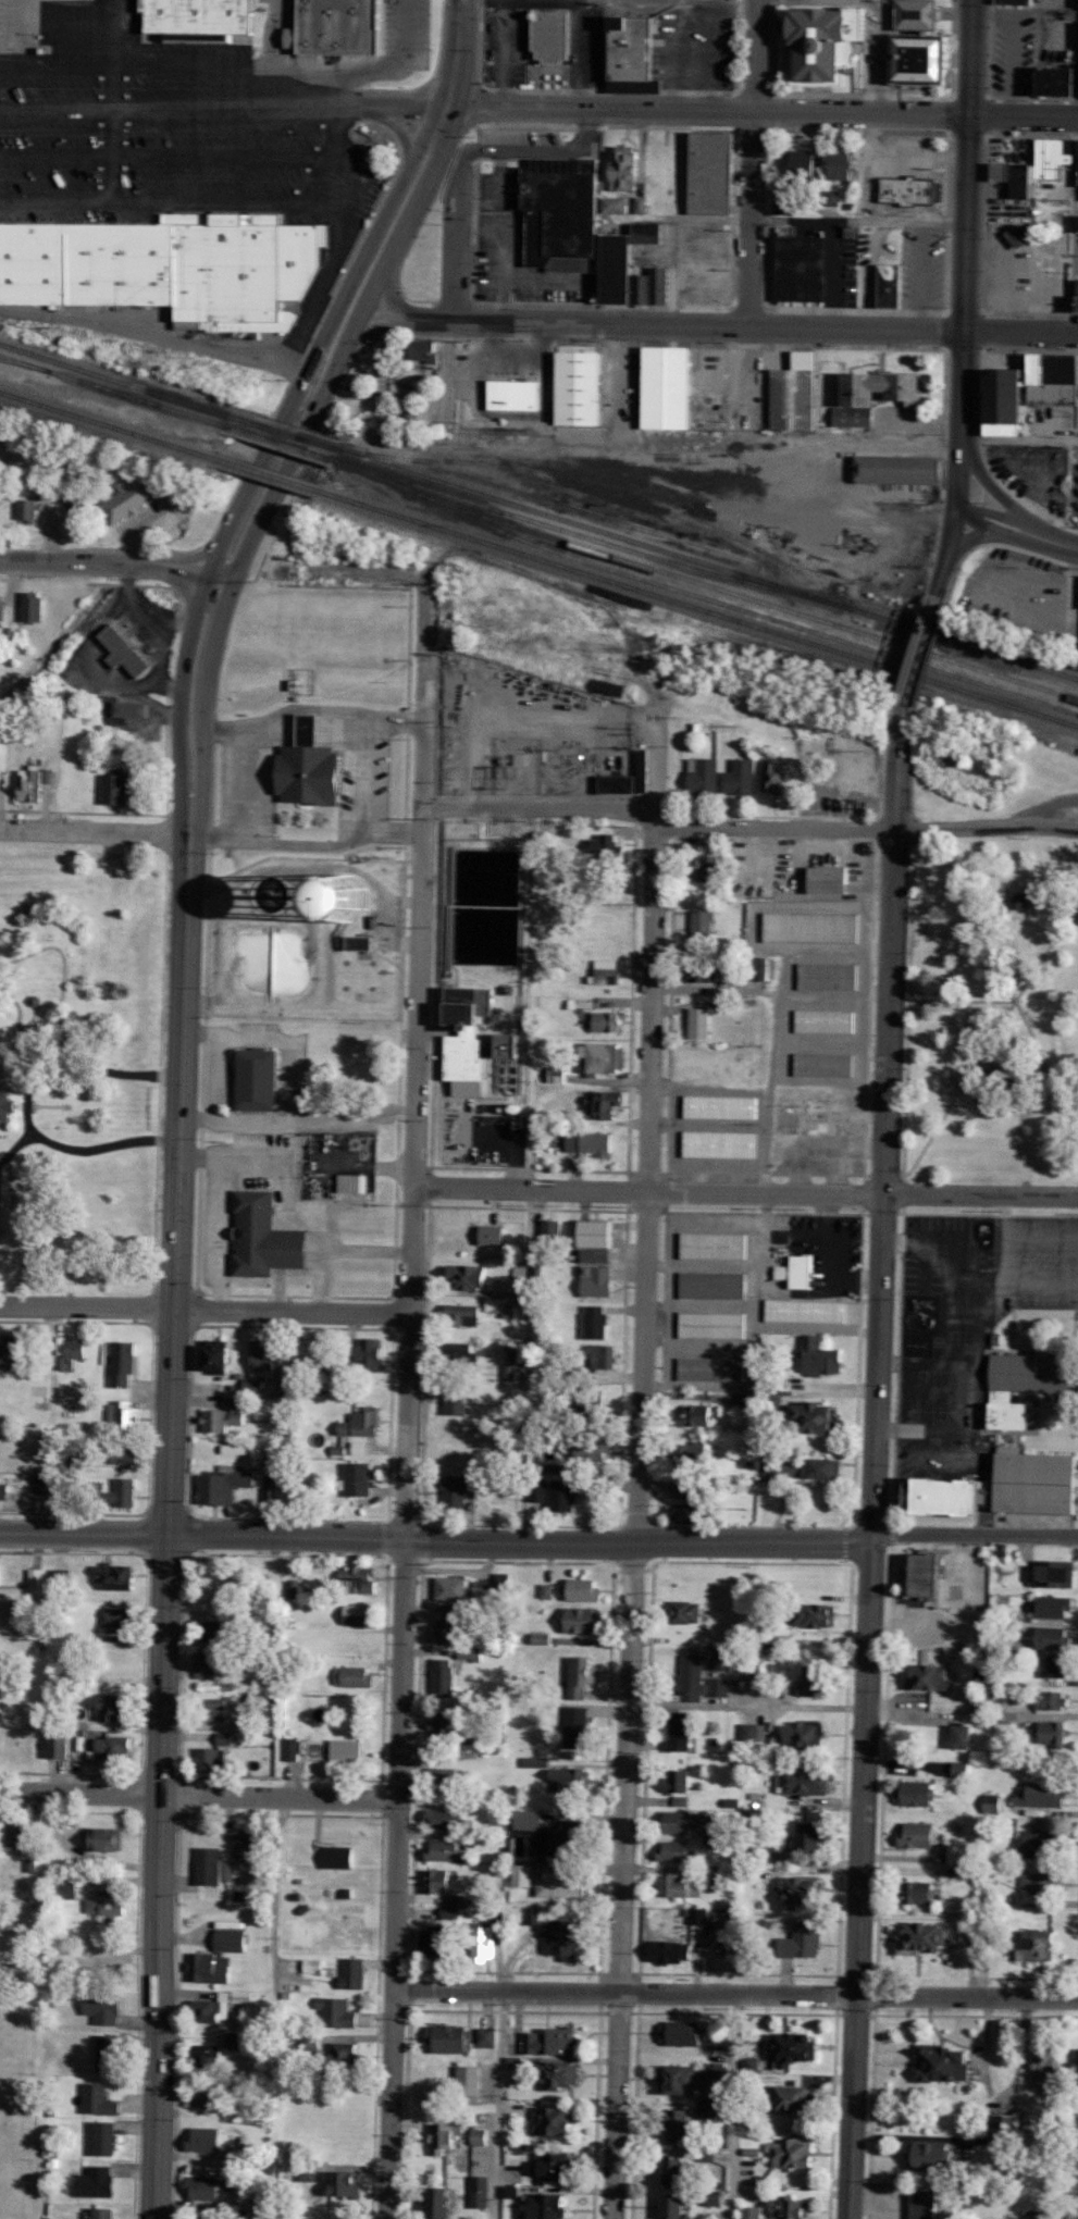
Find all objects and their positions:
building: (1015, 2)
building: (922, 14)
road: (64, 15)
building: (200, 17)
road: (404, 24)
building: (331, 28)
road: (16, 32)
building: (553, 37)
parking lot: (697, 42)
building: (830, 42)
parking lot: (1011, 47)
road: (267, 52)
road: (455, 52)
building: (632, 52)
road: (753, 53)
road: (968, 54)
road: (132, 61)
road: (357, 67)
building: (912, 67)
building: (1056, 80)
road: (984, 94)
road: (111, 100)
road: (361, 102)
road: (309, 103)
road: (728, 106)
road: (137, 108)
parking lot: (172, 124)
road: (334, 127)
parking lot: (518, 133)
road: (161, 151)
building: (1076, 153)
road: (462, 157)
building: (806, 165)
building: (846, 166)
building: (1038, 166)
building: (625, 169)
building: (703, 176)
building: (910, 190)
road: (179, 201)
building: (615, 204)
building: (781, 206)
road: (748, 215)
building: (560, 219)
building: (649, 233)
building: (1019, 236)
building: (705, 264)
parking lot: (920, 265)
building: (168, 266)
building: (793, 269)
building: (629, 275)
road: (713, 322)
road: (962, 348)
building: (422, 350)
railway: (23, 365)
building: (1045, 376)
railway: (120, 383)
road: (744, 385)
building: (660, 388)
railway: (116, 392)
building: (568, 392)
parking lot: (1076, 394)
building: (504, 395)
building: (878, 395)
railway: (150, 397)
building: (783, 398)
railway: (107, 425)
railway: (285, 433)
railway: (280, 443)
road: (683, 448)
railway: (574, 464)
building: (894, 470)
railway: (263, 473)
railway: (740, 476)
road: (990, 484)
railway: (817, 487)
railway: (754, 489)
railway: (680, 493)
railway: (624, 499)
building: (125, 500)
railway: (563, 507)
building: (73, 508)
building: (25, 510)
road: (1017, 520)
railway: (755, 523)
road: (977, 532)
railway: (573, 534)
railway: (703, 565)
road: (108, 566)
railway: (698, 598)
railway: (745, 599)
building: (30, 608)
railway: (695, 609)
building: (1, 610)
road: (918, 644)
building: (125, 653)
road: (423, 687)
building: (128, 709)
building: (310, 766)
building: (644, 770)
building: (705, 776)
building: (741, 777)
building: (775, 777)
building: (32, 783)
building: (619, 783)
building: (117, 789)
road: (546, 804)
road: (84, 809)
road: (988, 822)
road: (91, 825)
road: (775, 825)
building: (606, 847)
building: (702, 870)
building: (832, 879)
building: (811, 927)
building: (704, 928)
building: (361, 942)
water tower: (323, 944)
building: (760, 968)
building: (605, 970)
building: (704, 972)
road: (62, 975)
building: (829, 976)
road: (1002, 976)
road: (2, 989)
road: (908, 1000)
road: (16, 1005)
road: (907, 1007)
park: (990, 1008)
building: (608, 1021)
building: (827, 1021)
building: (701, 1022)
road: (772, 1029)
road: (991, 1036)
building: (467, 1038)
building: (606, 1057)
park: (80, 1058)
road: (156, 1064)
building: (508, 1064)
building: (826, 1064)
building: (556, 1075)
building: (259, 1079)
road: (26, 1103)
building: (609, 1103)
building: (5, 1104)
road: (48, 1104)
building: (721, 1106)
road: (175, 1133)
building: (590, 1142)
road: (15, 1143)
building: (721, 1144)
road: (7, 1168)
road: (524, 1172)
building: (354, 1183)
road: (744, 1190)
building: (550, 1231)
building: (599, 1234)
building: (493, 1235)
building: (267, 1237)
building: (715, 1245)
building: (597, 1254)
parking lot: (1042, 1259)
building: (798, 1272)
building: (470, 1276)
building: (597, 1281)
building: (506, 1285)
building: (714, 1285)
road: (203, 1304)
building: (807, 1311)
building: (462, 1313)
parking lot: (963, 1318)
building: (595, 1323)
building: (713, 1325)
building: (917, 1343)
building: (12, 1350)
building: (370, 1352)
building: (73, 1353)
building: (459, 1353)
building: (599, 1356)
building: (220, 1358)
building: (263, 1358)
building: (821, 1358)
building: (124, 1363)
building: (713, 1368)
building: (1029, 1372)
building: (253, 1386)
building: (746, 1400)
building: (456, 1402)
building: (1013, 1410)
building: (123, 1415)
building: (696, 1416)
building: (820, 1418)
building: (222, 1420)
building: (363, 1423)
building: (268, 1447)
building: (592, 1449)
building: (128, 1452)
building: (691, 1458)
road: (877, 1460)
building: (825, 1468)
building: (796, 1470)
building: (1038, 1473)
park: (1041, 1473)
building: (358, 1479)
building: (954, 1480)
building: (40, 1484)
building: (225, 1485)
building: (538, 1489)
building: (691, 1489)
building: (458, 1491)
building: (4, 1492)
building: (126, 1492)
building: (271, 1493)
building: (563, 1496)
building: (996, 1500)
road: (402, 1510)
building: (685, 1513)
road: (635, 1521)
road: (540, 1540)
building: (1056, 1572)
building: (120, 1574)
building: (933, 1574)
building: (35, 1577)
building: (358, 1579)
building: (451, 1587)
building: (294, 1588)
building: (582, 1589)
building: (1056, 1606)
building: (451, 1611)
building: (686, 1611)
building: (815, 1613)
building: (358, 1614)
building: (583, 1619)
building: (119, 1620)
building: (213, 1631)
building: (446, 1631)
building: (1055, 1637)
building: (469, 1652)
building: (209, 1663)
building: (1055, 1665)
building: (355, 1675)
building: (581, 1675)
building: (931, 1676)
building: (444, 1677)
building: (694, 1677)
building: (817, 1679)
building: (720, 1686)
building: (1051, 1699)
road: (749, 1706)
building: (115, 1707)
building: (211, 1709)
building: (444, 1724)
building: (578, 1726)
building: (679, 1732)
building: (754, 1732)
building: (1052, 1732)
building: (806, 1735)
building: (964, 1735)
building: (225, 1738)
building: (60, 1744)
building: (115, 1747)
building: (292, 1748)
building: (348, 1749)
building: (208, 1758)
building: (445, 1777)
building: (570, 1778)
building: (810, 1780)
building: (679, 1781)
road: (197, 1793)
building: (917, 1793)
building: (1043, 1794)
building: (992, 1802)
building: (445, 1819)
building: (530, 1819)
building: (683, 1821)
building: (920, 1834)
building: (809, 1837)
building: (103, 1838)
building: (566, 1839)
building: (1041, 1842)
building: (244, 1845)
building: (445, 1849)
building: (677, 1851)
building: (958, 1854)
building: (339, 1856)
building: (209, 1864)
building: (230, 1870)
building: (523, 1875)
building: (714, 1875)
building: (439, 1880)
building: (565, 1884)
building: (679, 1886)
building: (1042, 1886)
building: (66, 1888)
building: (805, 1892)
building: (926, 1892)
building: (109, 1905)
building: (449, 1912)
building: (702, 1916)
building: (565, 1938)
building: (926, 1938)
building: (232, 1939)
building: (807, 1939)
building: (435, 1942)
building: (485, 1942)
building: (1036, 1946)
building: (671, 1950)
building: (313, 1966)
building: (211, 1968)
building: (352, 1973)
road: (734, 1989)
building: (219, 2005)
building: (104, 2007)
building: (337, 2012)
building: (684, 2033)
building: (487, 2036)
building: (449, 2037)
building: (235, 2041)
building: (553, 2041)
building: (310, 2042)
building: (718, 2044)
building: (796, 2046)
building: (109, 2053)
building: (344, 2054)
building: (206, 2055)
building: (753, 2062)
building: (947, 2062)
building: (1045, 2067)
building: (1076, 2069)
building: (561, 2074)
building: (684, 2079)
building: (470, 2080)
building: (208, 2097)
building: (800, 2097)
building: (99, 2099)
road: (499, 2103)
road: (733, 2105)
building: (557, 2120)
building: (1033, 2122)
building: (679, 2123)
building: (1004, 2130)
building: (446, 2136)
building: (109, 2137)
building: (210, 2139)
building: (795, 2153)
building: (932, 2155)
building: (558, 2166)
building: (679, 2170)
building: (307, 2173)
building: (98, 2181)
building: (346, 2183)
building: (205, 2186)
building: (480, 2191)
building: (511, 2191)
building: (444, 2202)
building: (928, 2204)
building: (552, 2206)
building: (258, 2207)
building: (678, 2207)
building: (792, 2208)
building: (107, 2212)
building: (753, 2212)
building: (1039, 2214)

